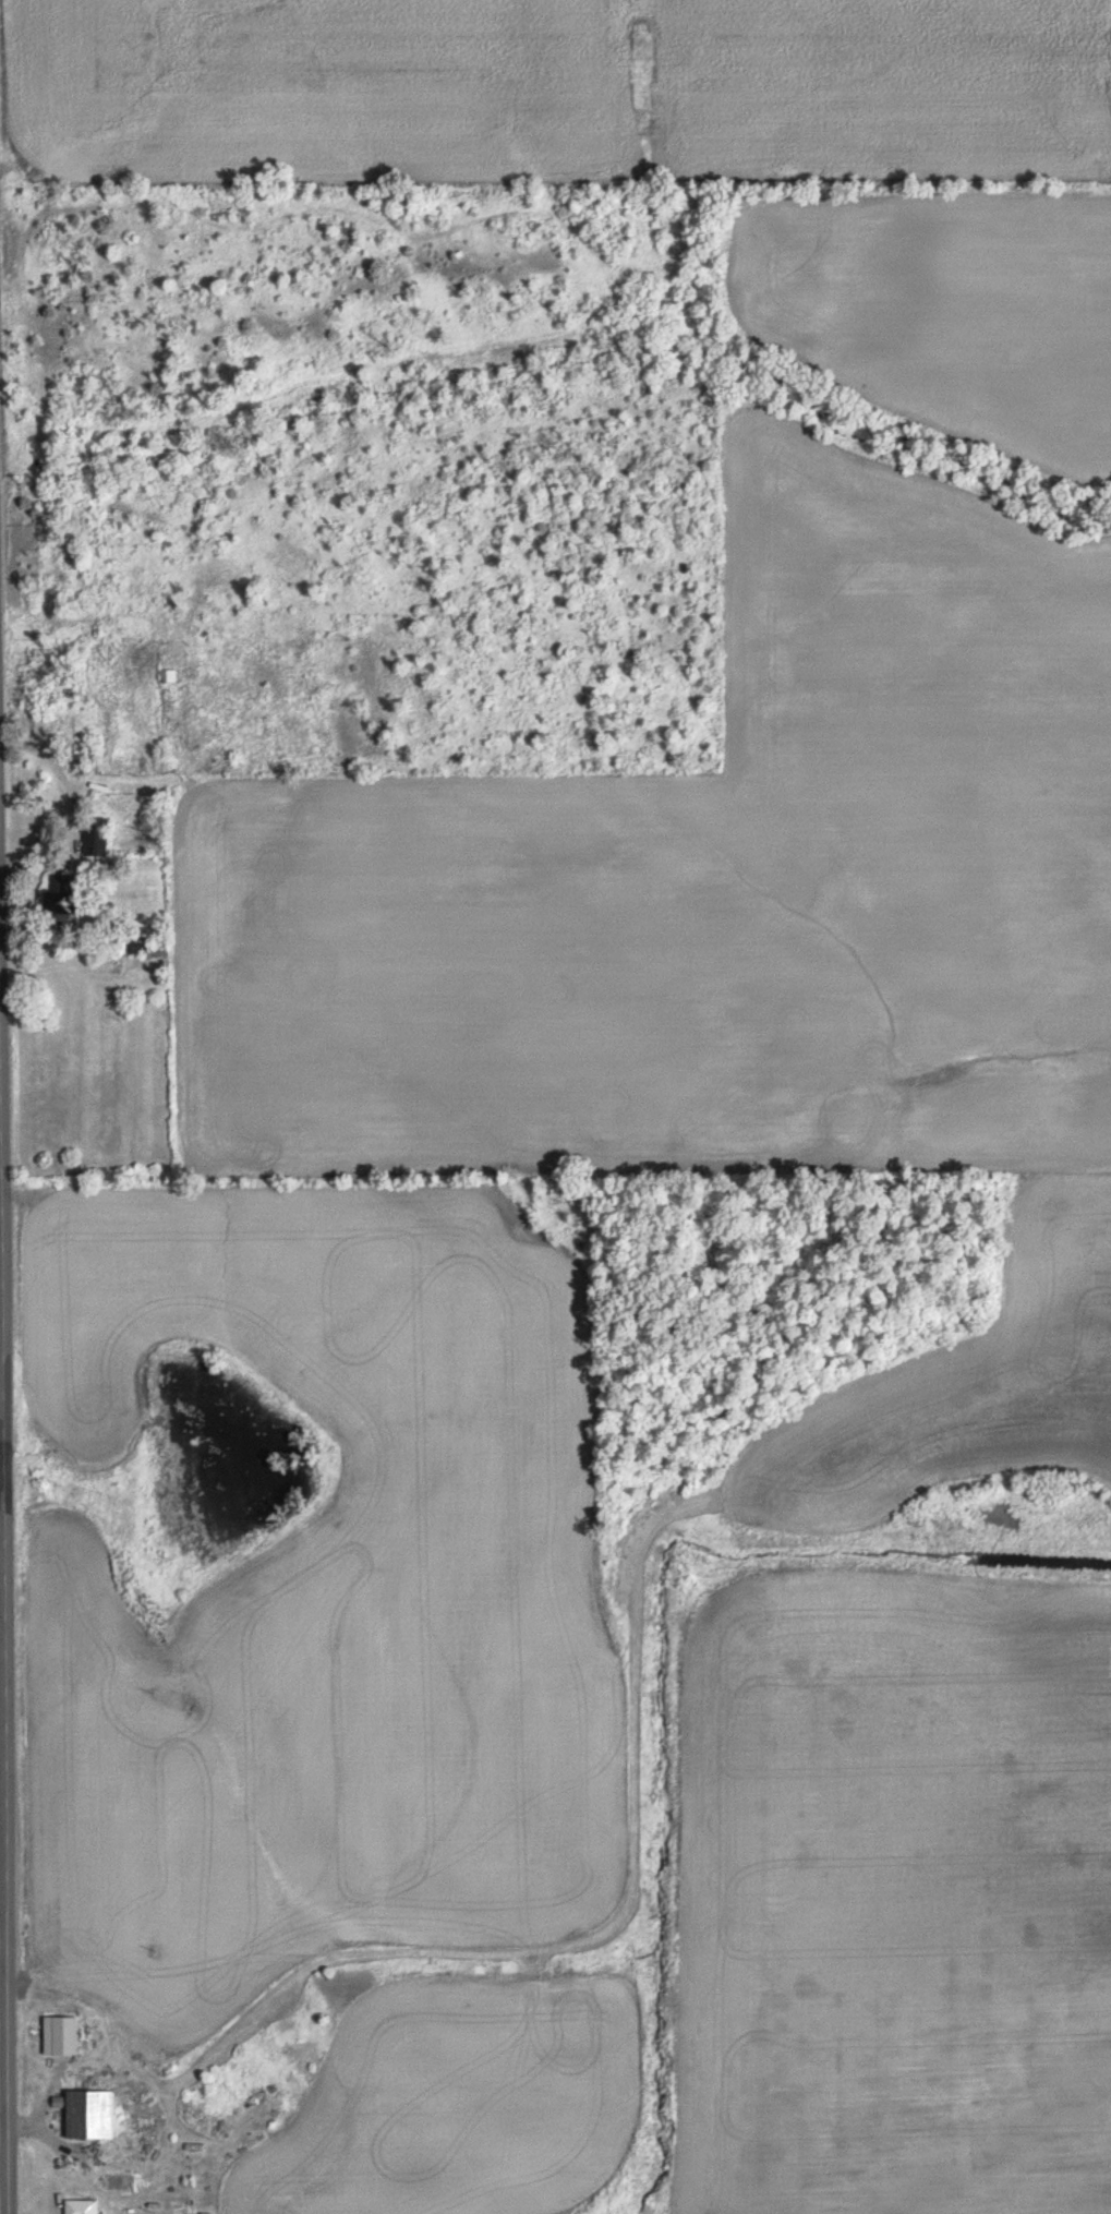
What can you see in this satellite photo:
crop: (583, 80)
crop: (944, 297)
crop: (711, 886)
crop: (963, 1417)
crop: (327, 1613)
road: (3, 1677)
crop: (895, 1897)
crop: (457, 2108)
building: (90, 2114)
building: (83, 2206)

